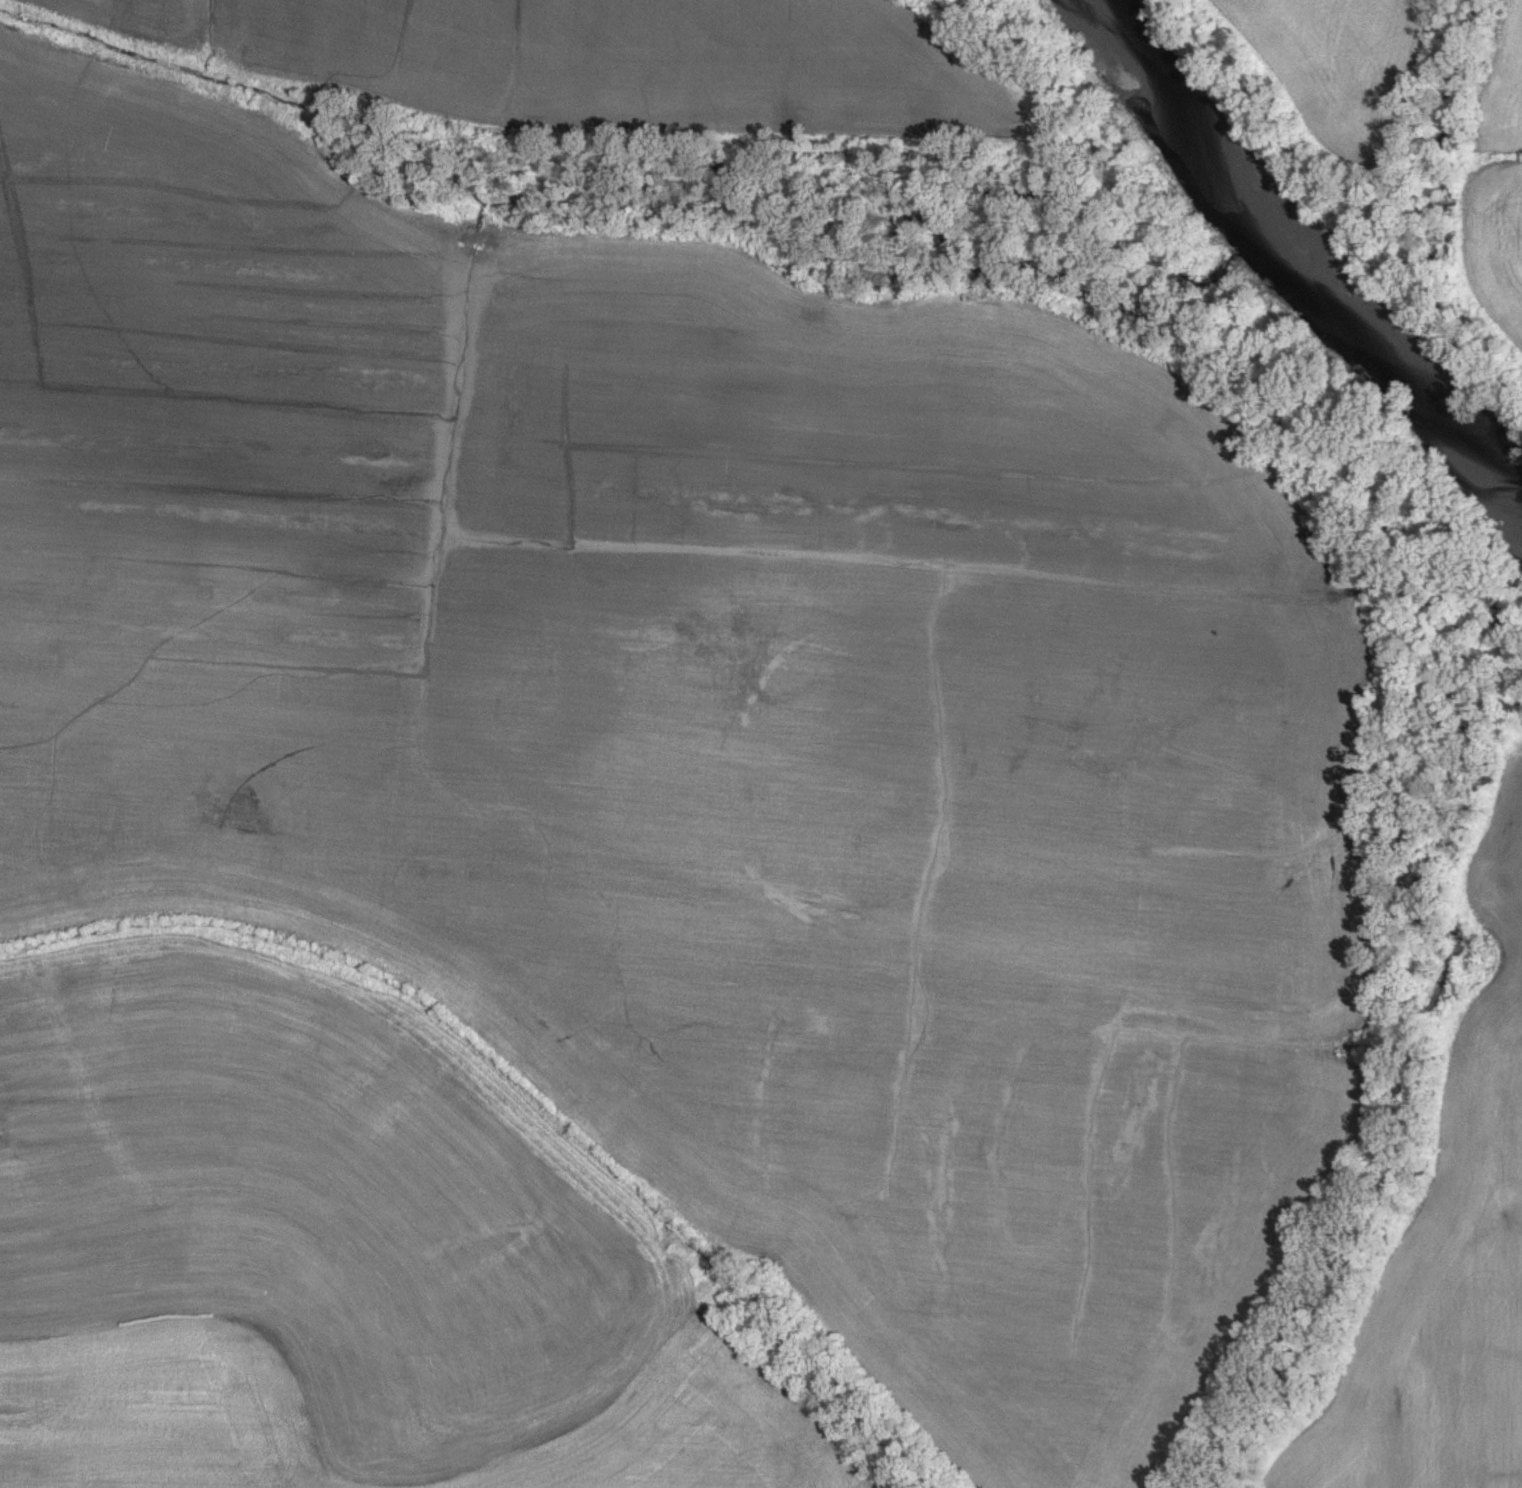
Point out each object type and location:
river: (1296, 263)

